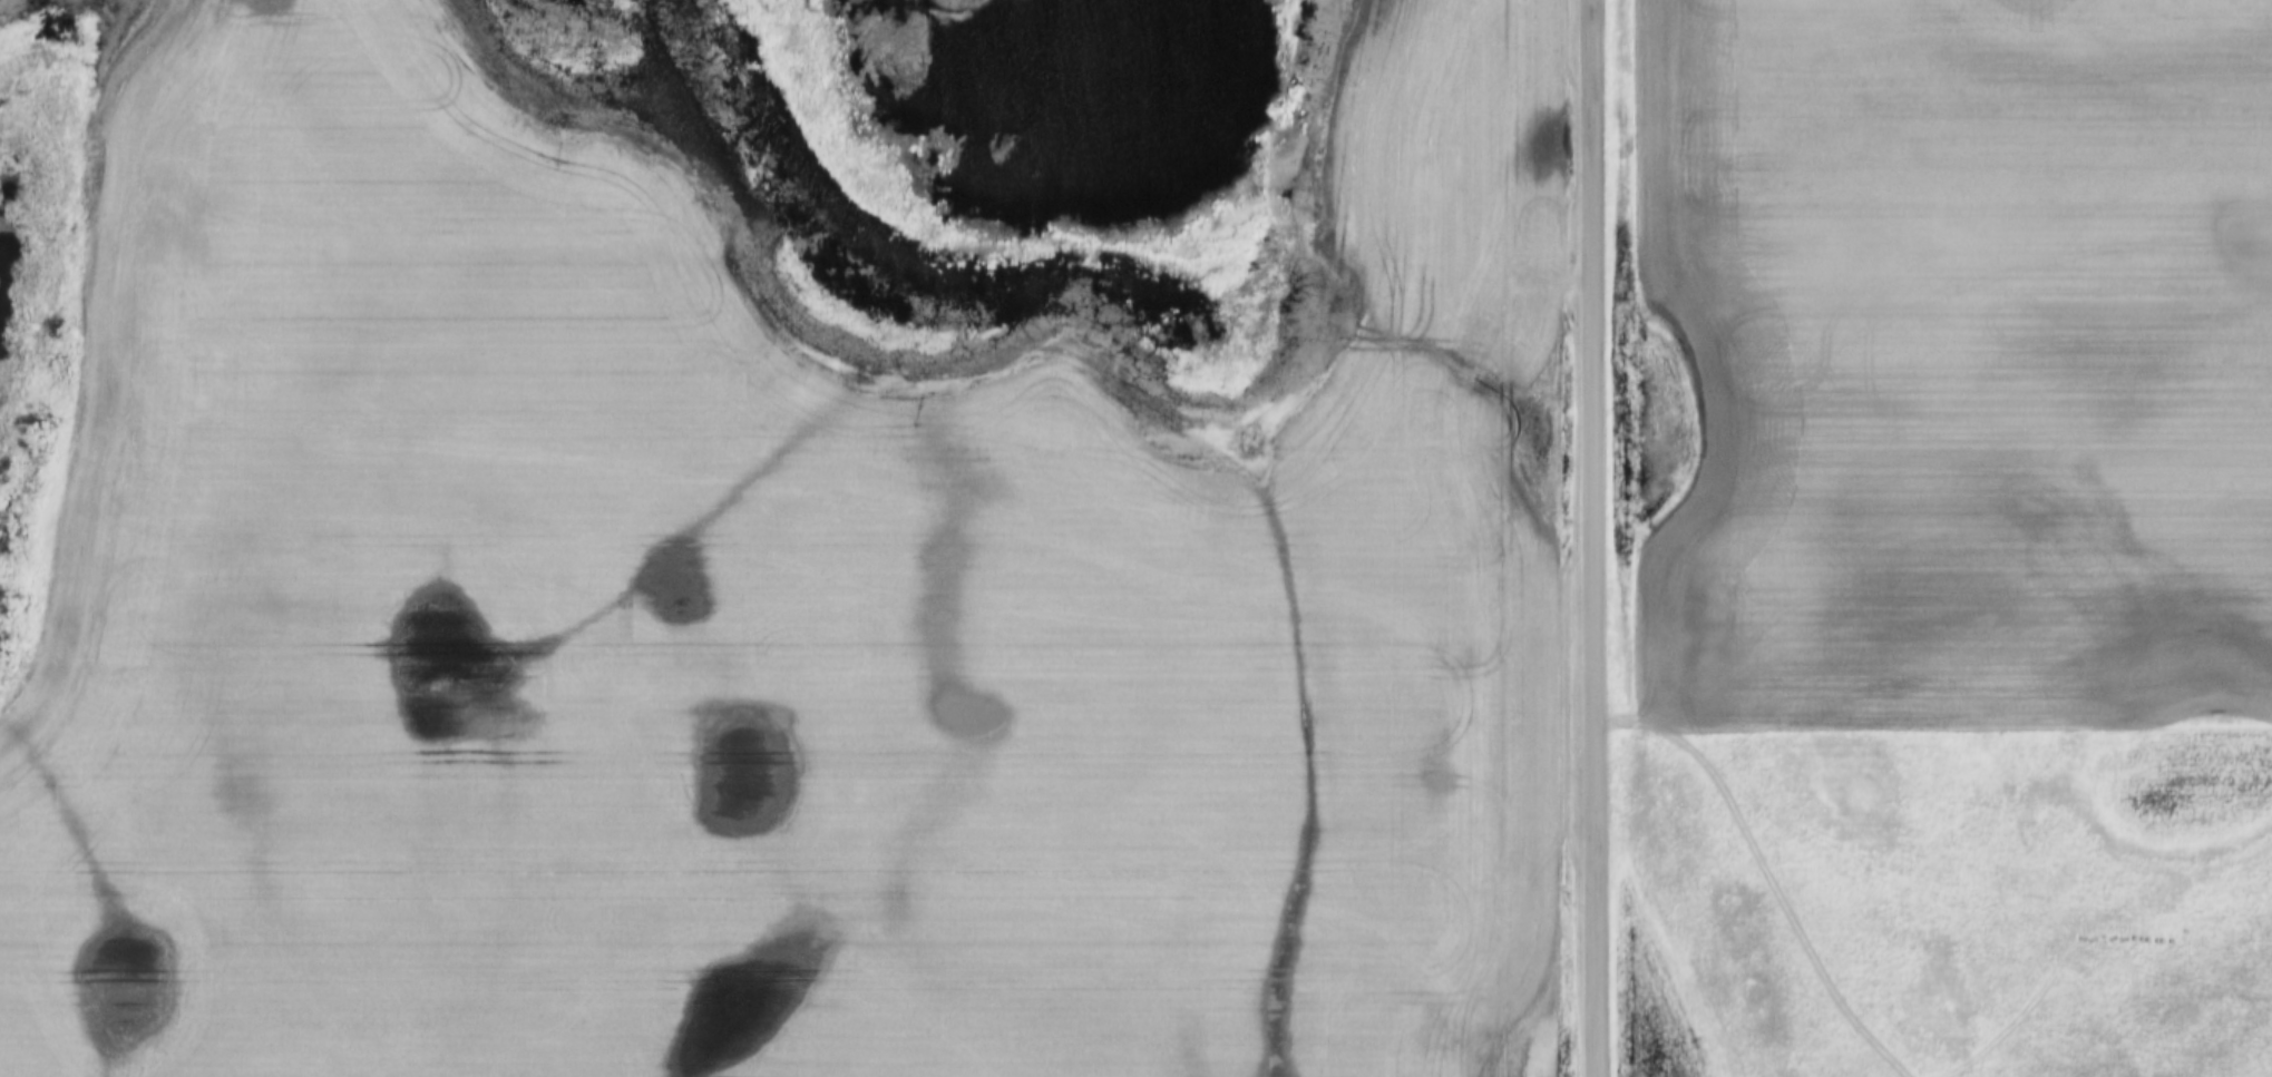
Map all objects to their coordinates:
road: (1593, 538)

